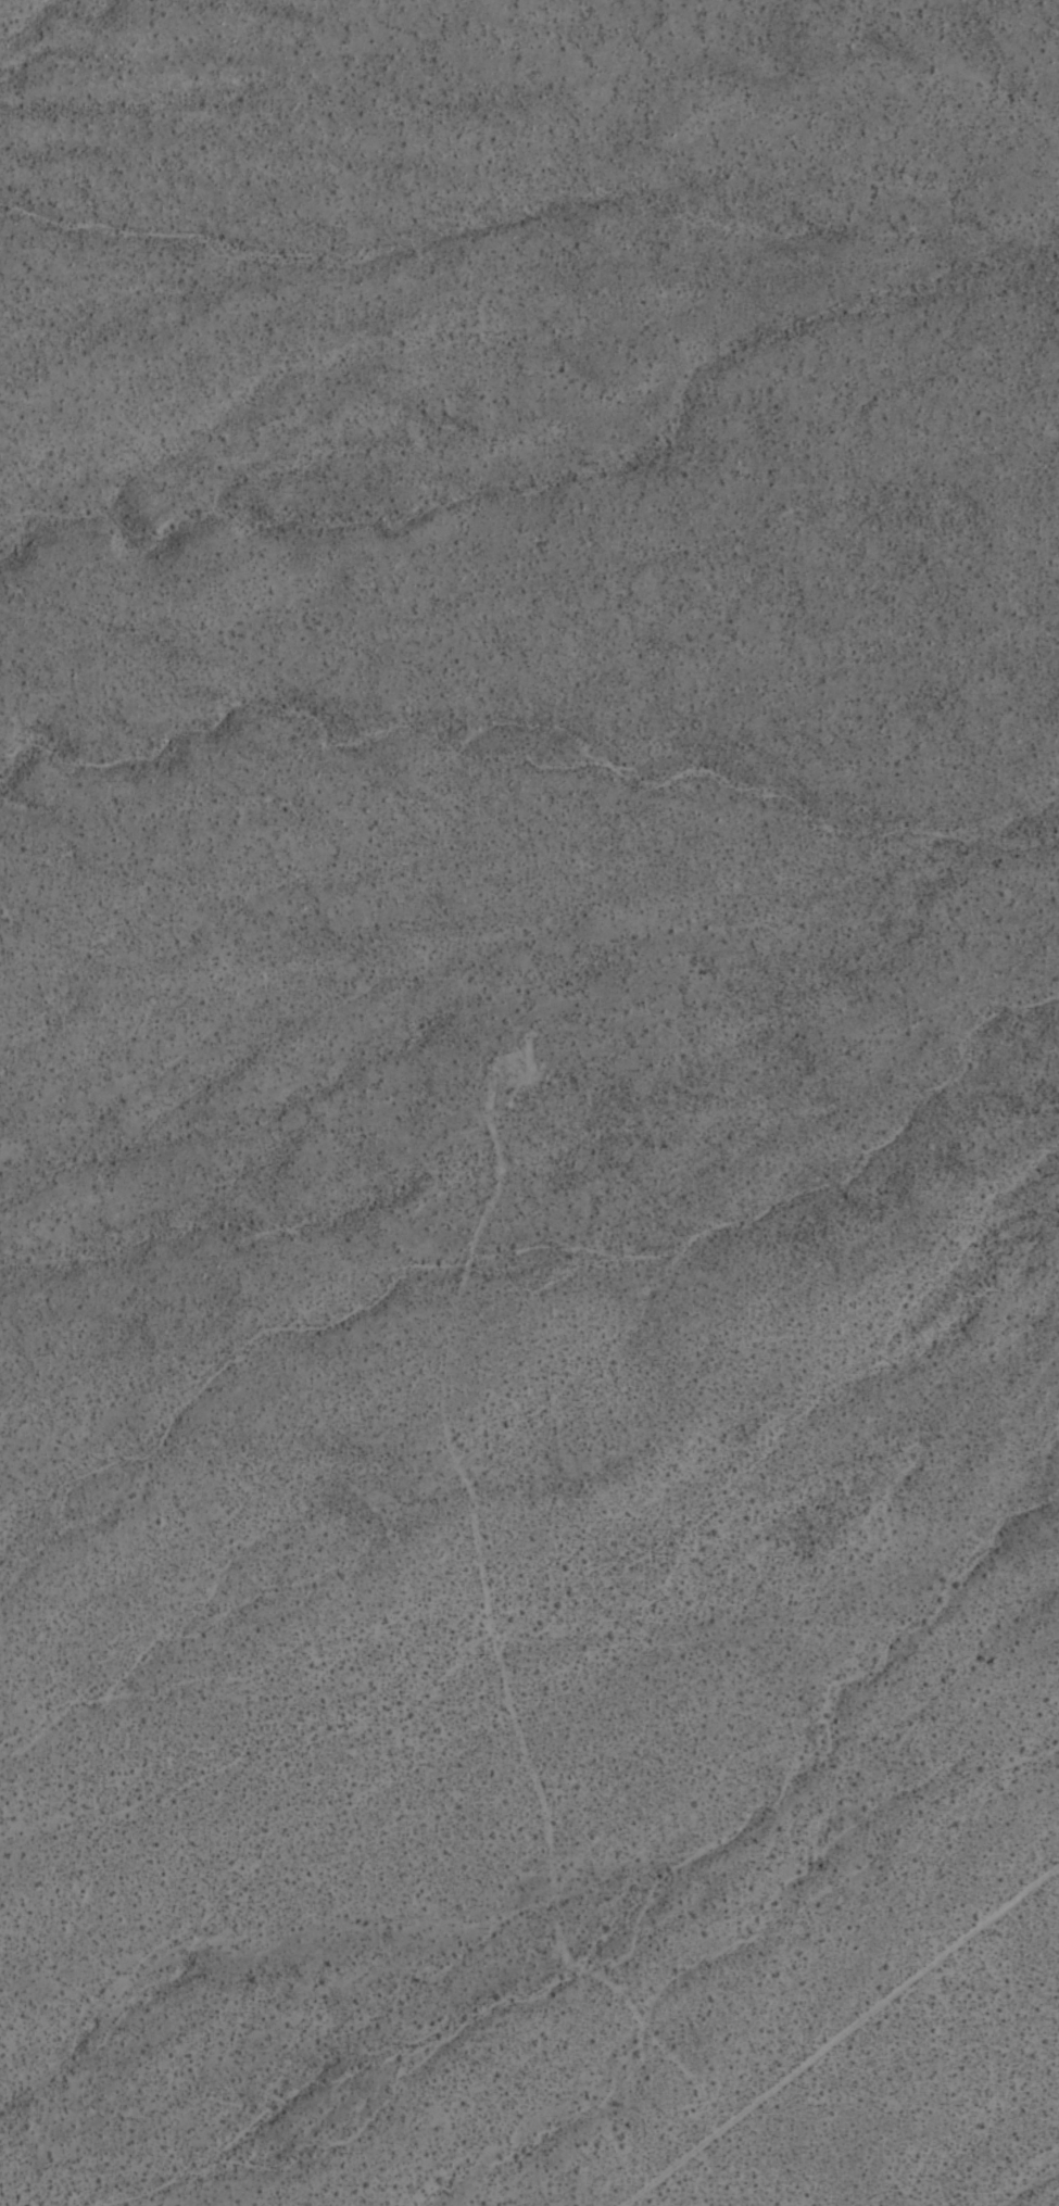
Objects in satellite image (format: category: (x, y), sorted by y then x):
road: (842, 2034)

